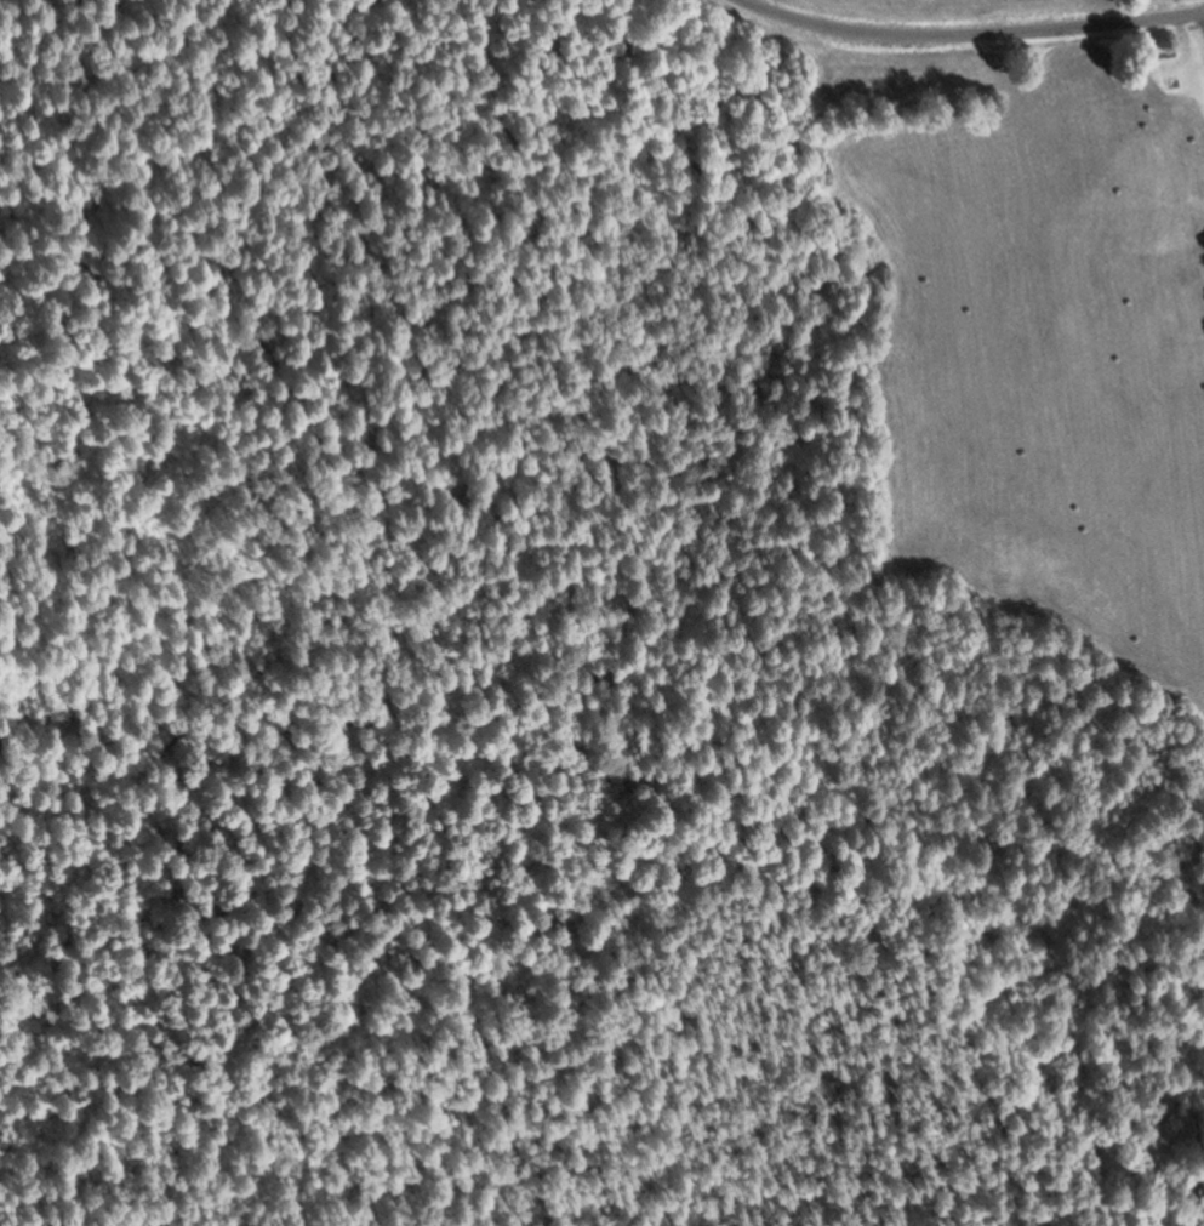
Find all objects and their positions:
road: (968, 39)

